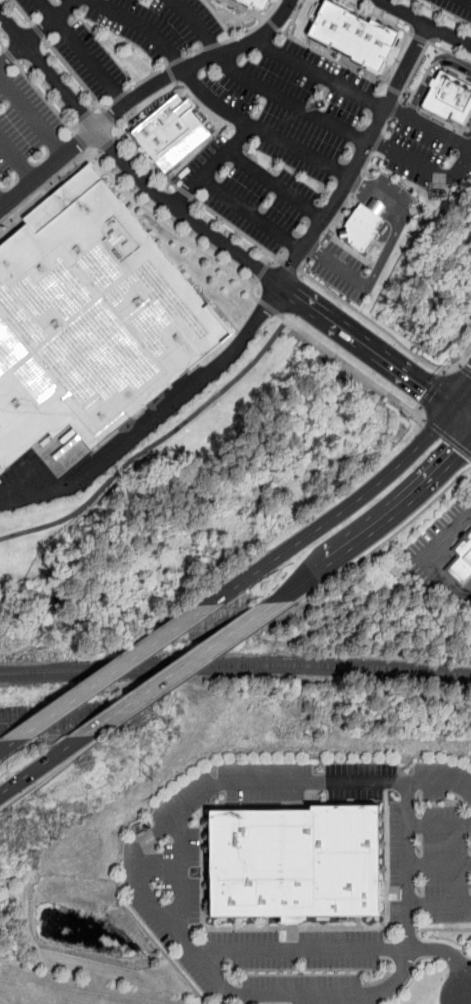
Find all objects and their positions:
road: (469, 0)
building: (258, 4)
road: (236, 5)
road: (63, 8)
parking lot: (455, 8)
road: (22, 12)
road: (442, 14)
road: (243, 17)
road: (379, 17)
road: (267, 18)
road: (218, 19)
road: (293, 21)
road: (425, 23)
road: (272, 24)
road: (196, 25)
road: (254, 28)
road: (37, 31)
road: (35, 33)
parking lot: (122, 36)
building: (355, 36)
road: (419, 38)
road: (2, 46)
road: (211, 46)
road: (448, 52)
road: (193, 53)
road: (10, 55)
road: (395, 57)
road: (89, 59)
road: (176, 61)
road: (194, 64)
road: (413, 71)
road: (170, 73)
road: (429, 73)
road: (73, 74)
road: (319, 75)
road: (147, 77)
road: (384, 85)
road: (393, 89)
road: (67, 94)
road: (401, 94)
road: (120, 96)
road: (44, 97)
building: (449, 98)
road: (210, 100)
road: (291, 102)
road: (108, 105)
road: (101, 107)
road: (394, 108)
road: (84, 115)
road: (32, 116)
road: (110, 117)
road: (74, 124)
road: (385, 125)
road: (219, 126)
building: (170, 132)
road: (118, 135)
parking lot: (27, 136)
road: (80, 140)
road: (377, 142)
road: (107, 144)
parking lot: (284, 145)
road: (97, 152)
road: (142, 157)
road: (359, 157)
road: (17, 158)
road: (464, 160)
road: (367, 162)
road: (209, 164)
road: (47, 168)
road: (356, 183)
road: (274, 184)
road: (182, 191)
road: (2, 201)
road: (249, 212)
road: (335, 216)
road: (398, 219)
road: (167, 225)
building: (361, 227)
road: (235, 229)
road: (206, 230)
road: (312, 249)
road: (273, 255)
road: (302, 264)
road: (335, 265)
road: (289, 267)
road: (261, 271)
road: (299, 271)
road: (252, 293)
road: (267, 306)
building: (91, 320)
road: (386, 332)
road: (375, 352)
road: (351, 366)
road: (460, 366)
road: (444, 371)
road: (466, 371)
traffic signals: (426, 388)
road: (432, 389)
road: (463, 397)
road: (417, 409)
road: (156, 415)
road: (448, 437)
road: (151, 443)
traffic signals: (460, 454)
road: (341, 511)
road: (379, 526)
road: (387, 539)
road: (428, 560)
building: (462, 560)
railway: (235, 666)
road: (180, 667)
road: (113, 669)
road: (191, 671)
road: (6, 744)
road: (42, 764)
power tower: (150, 775)
road: (44, 777)
road: (441, 784)
road: (439, 826)
building: (294, 863)
road: (439, 865)
road: (180, 876)
road: (439, 904)
road: (444, 929)
road: (345, 951)
road: (200, 959)

